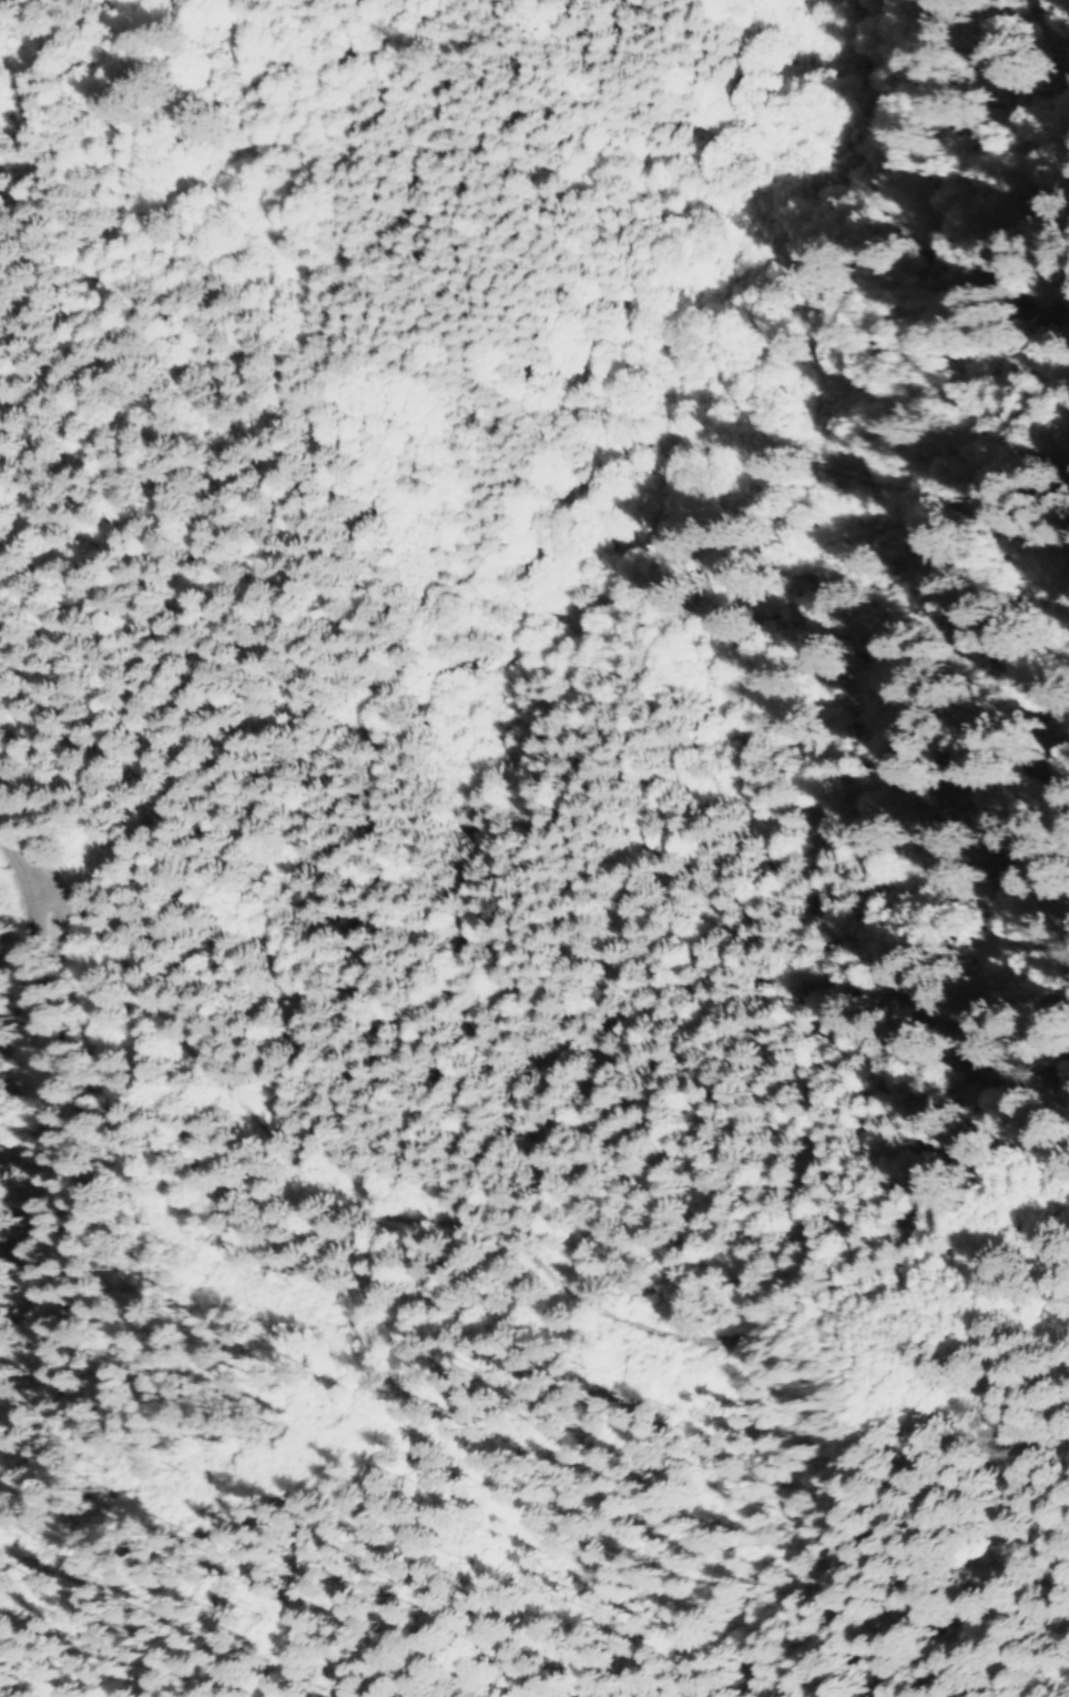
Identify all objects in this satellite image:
road: (96, 1102)
road: (512, 1239)

